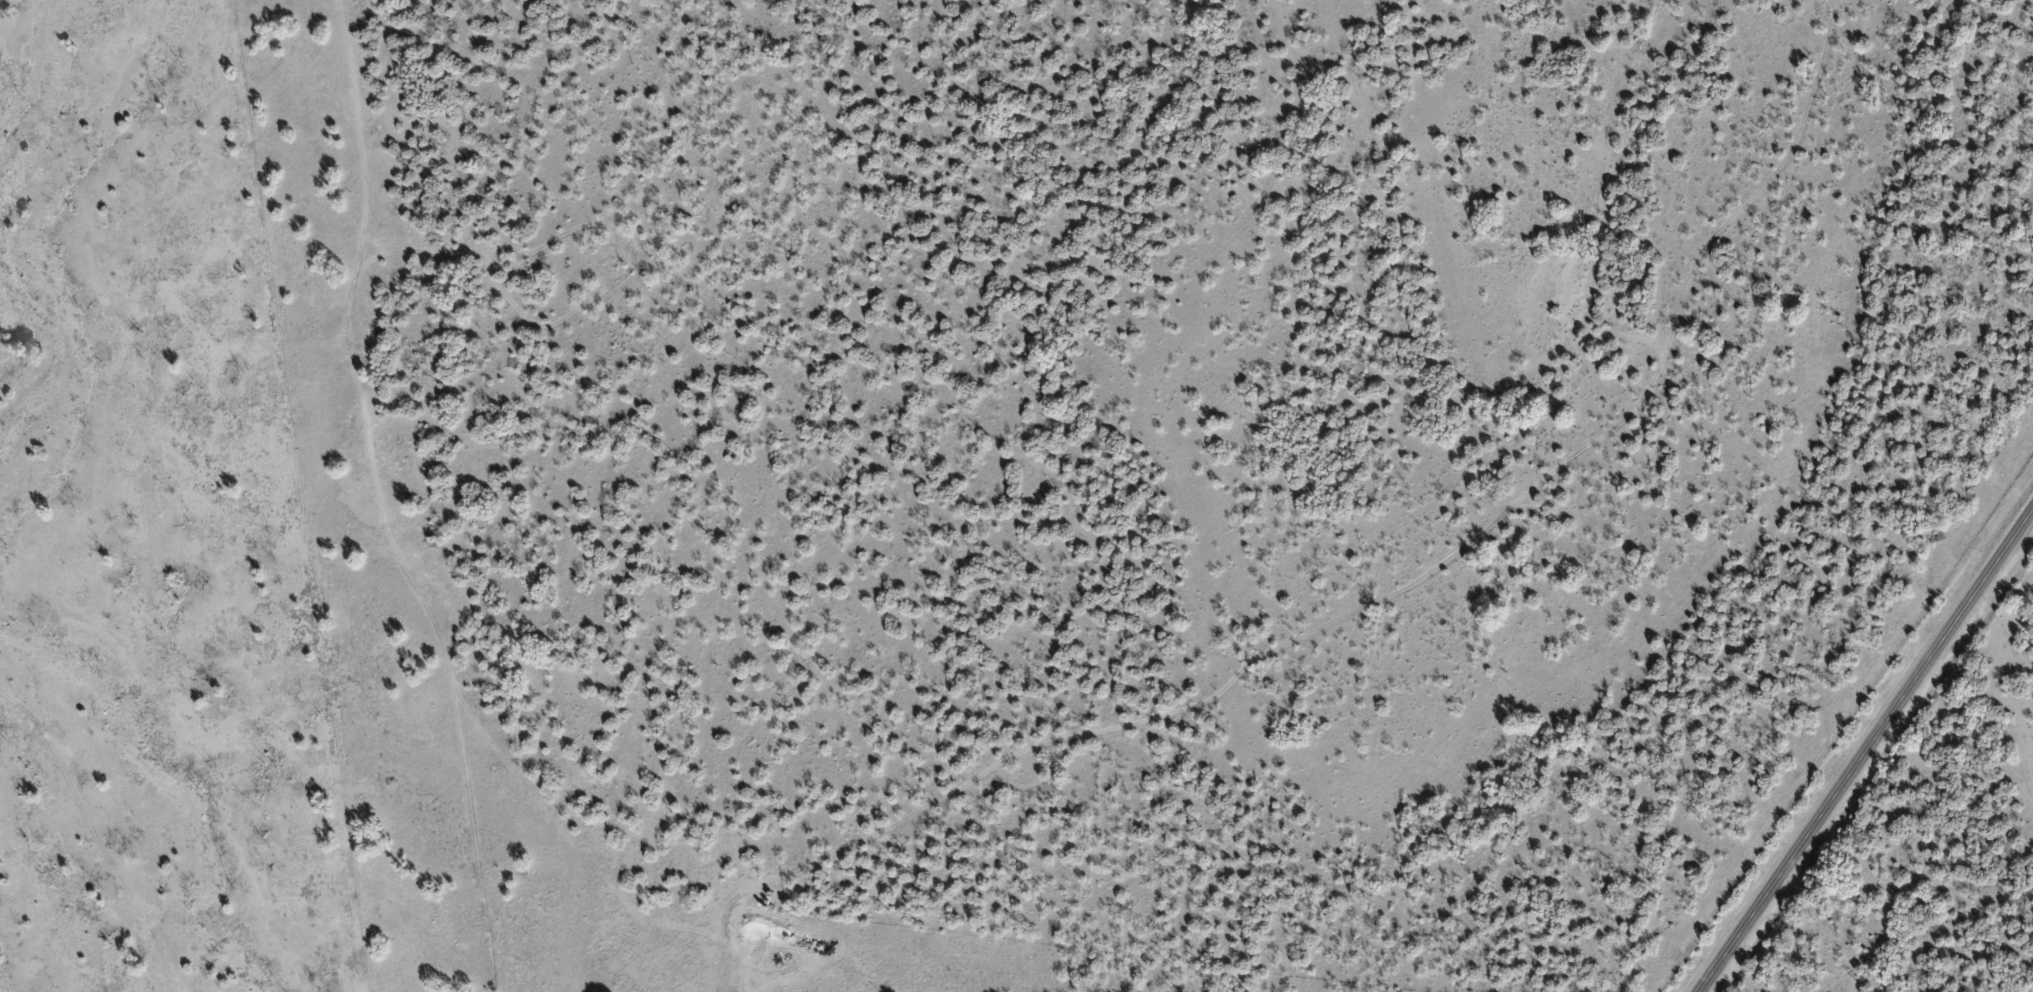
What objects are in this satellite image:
road: (1867, 751)

